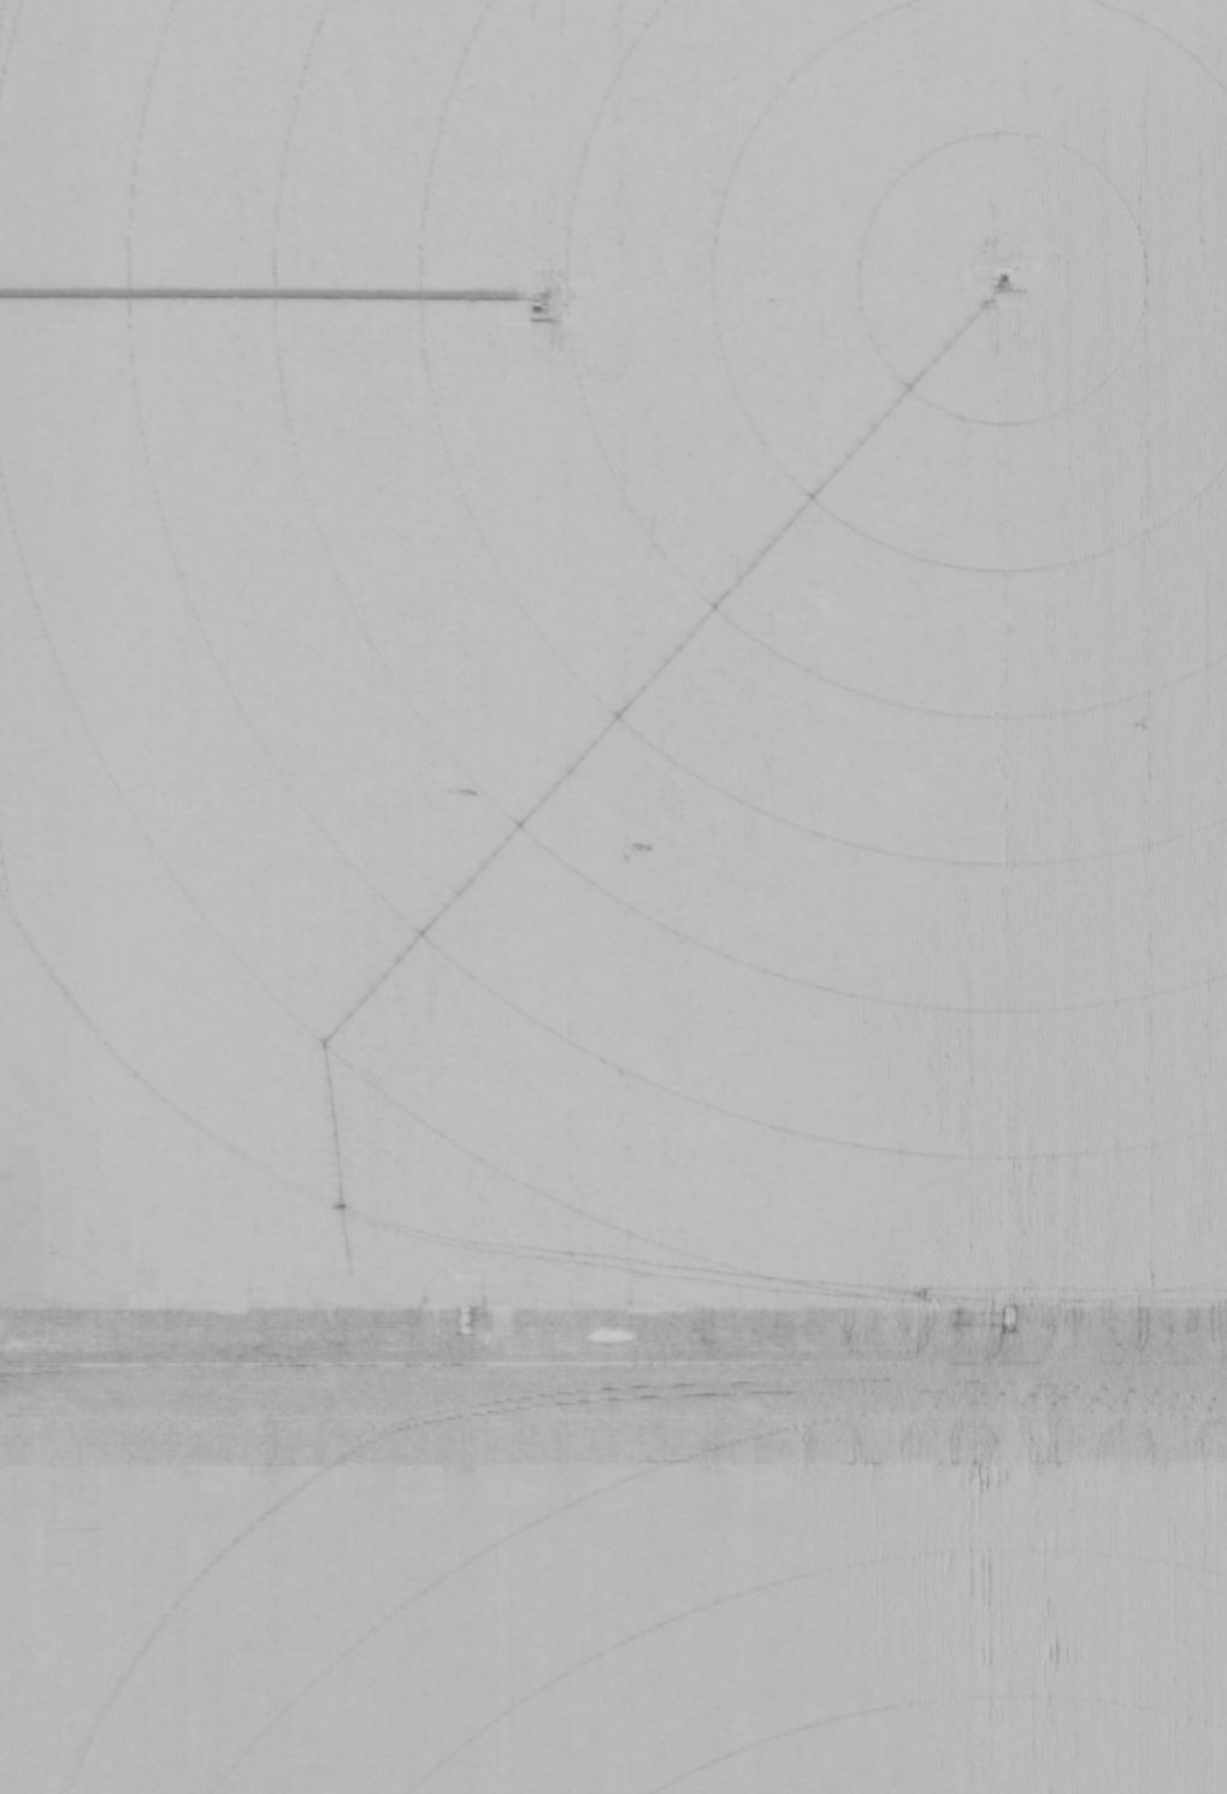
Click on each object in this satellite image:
power tower: (465, 1321)
power tower: (1010, 1321)

